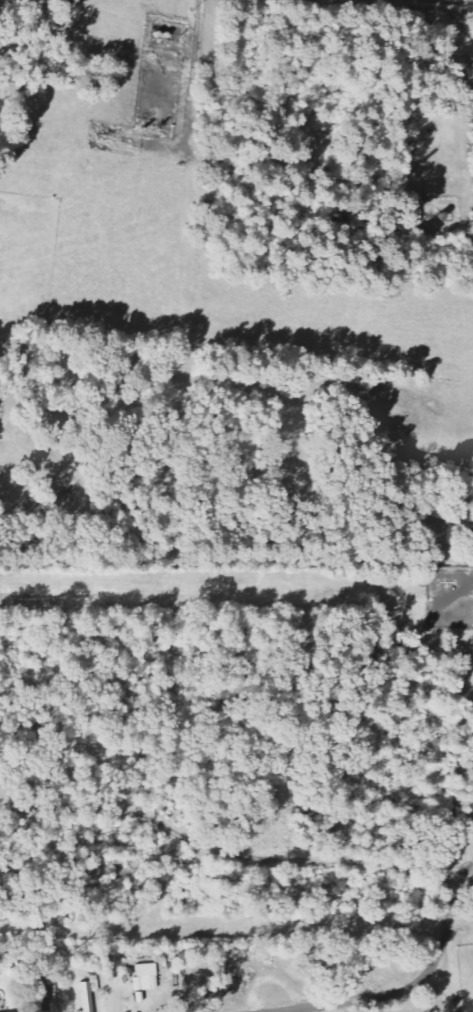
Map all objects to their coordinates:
building: (145, 974)
road: (449, 982)
road: (412, 986)
building: (91, 994)
building: (42, 1001)

